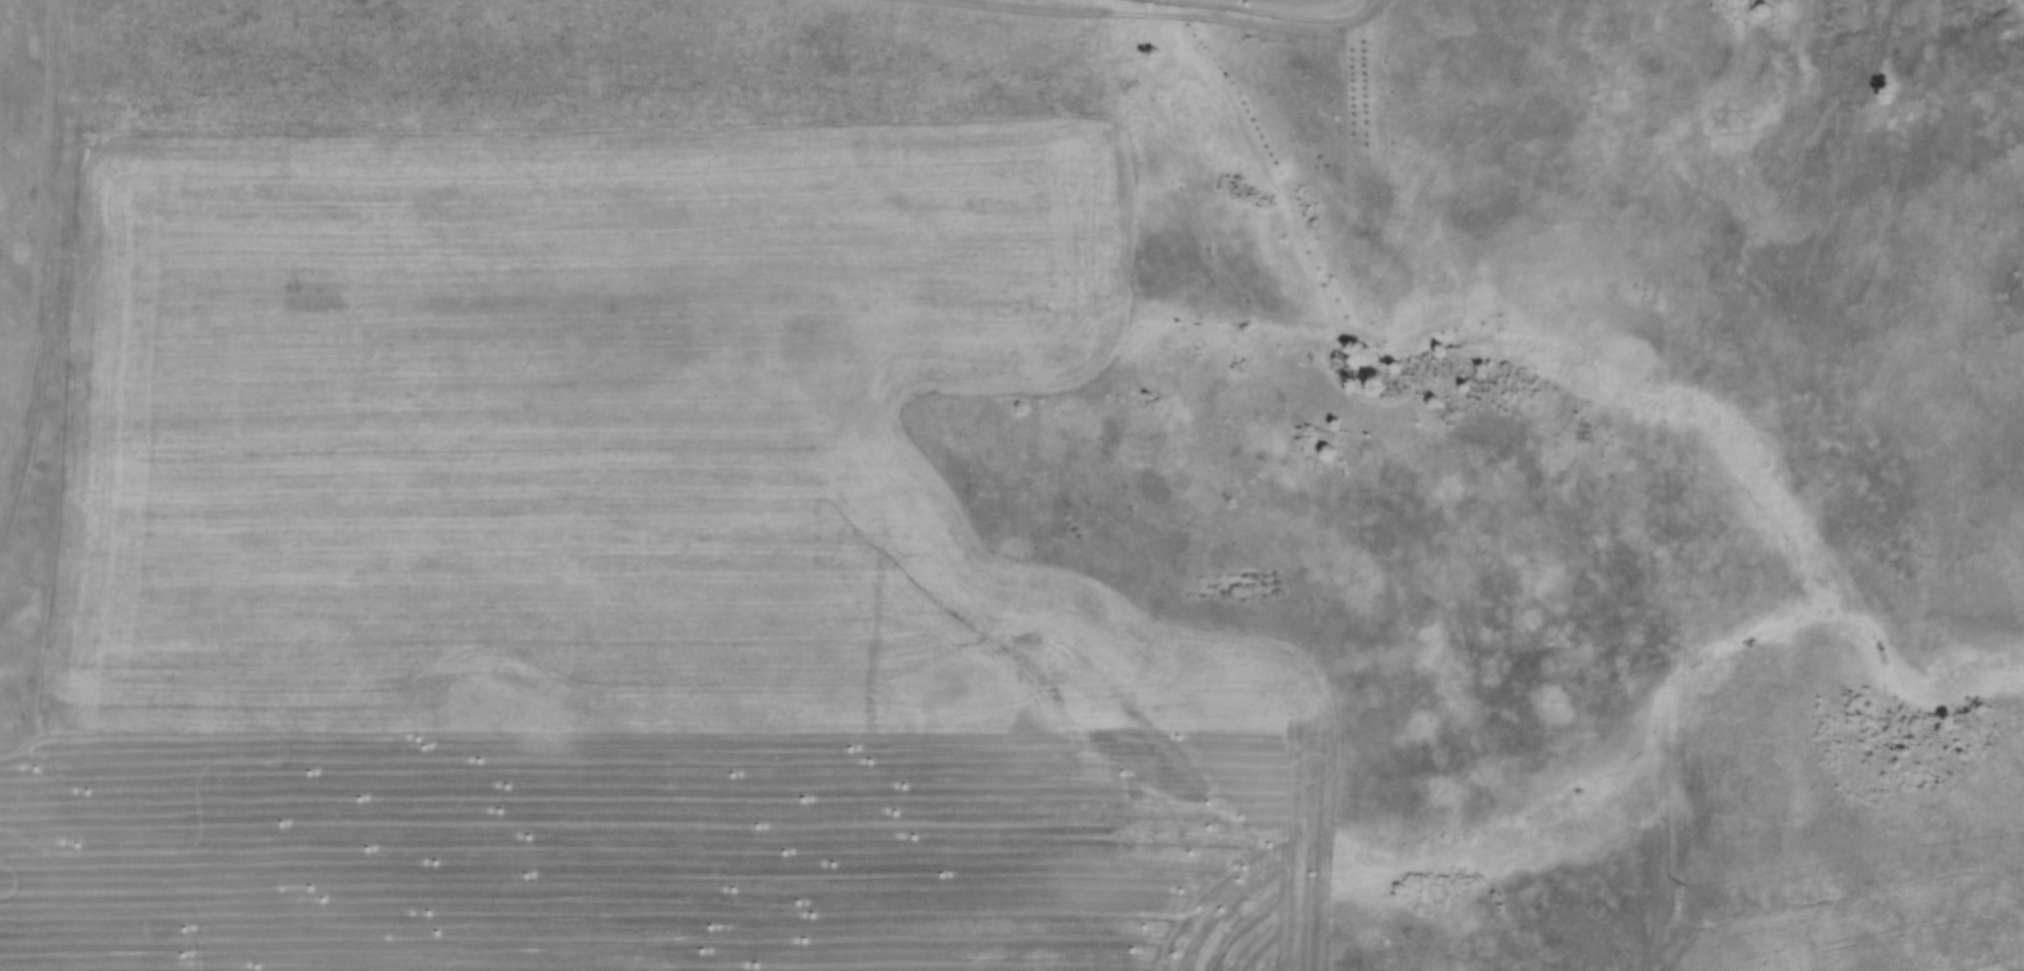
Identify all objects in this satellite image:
road: (49, 284)

